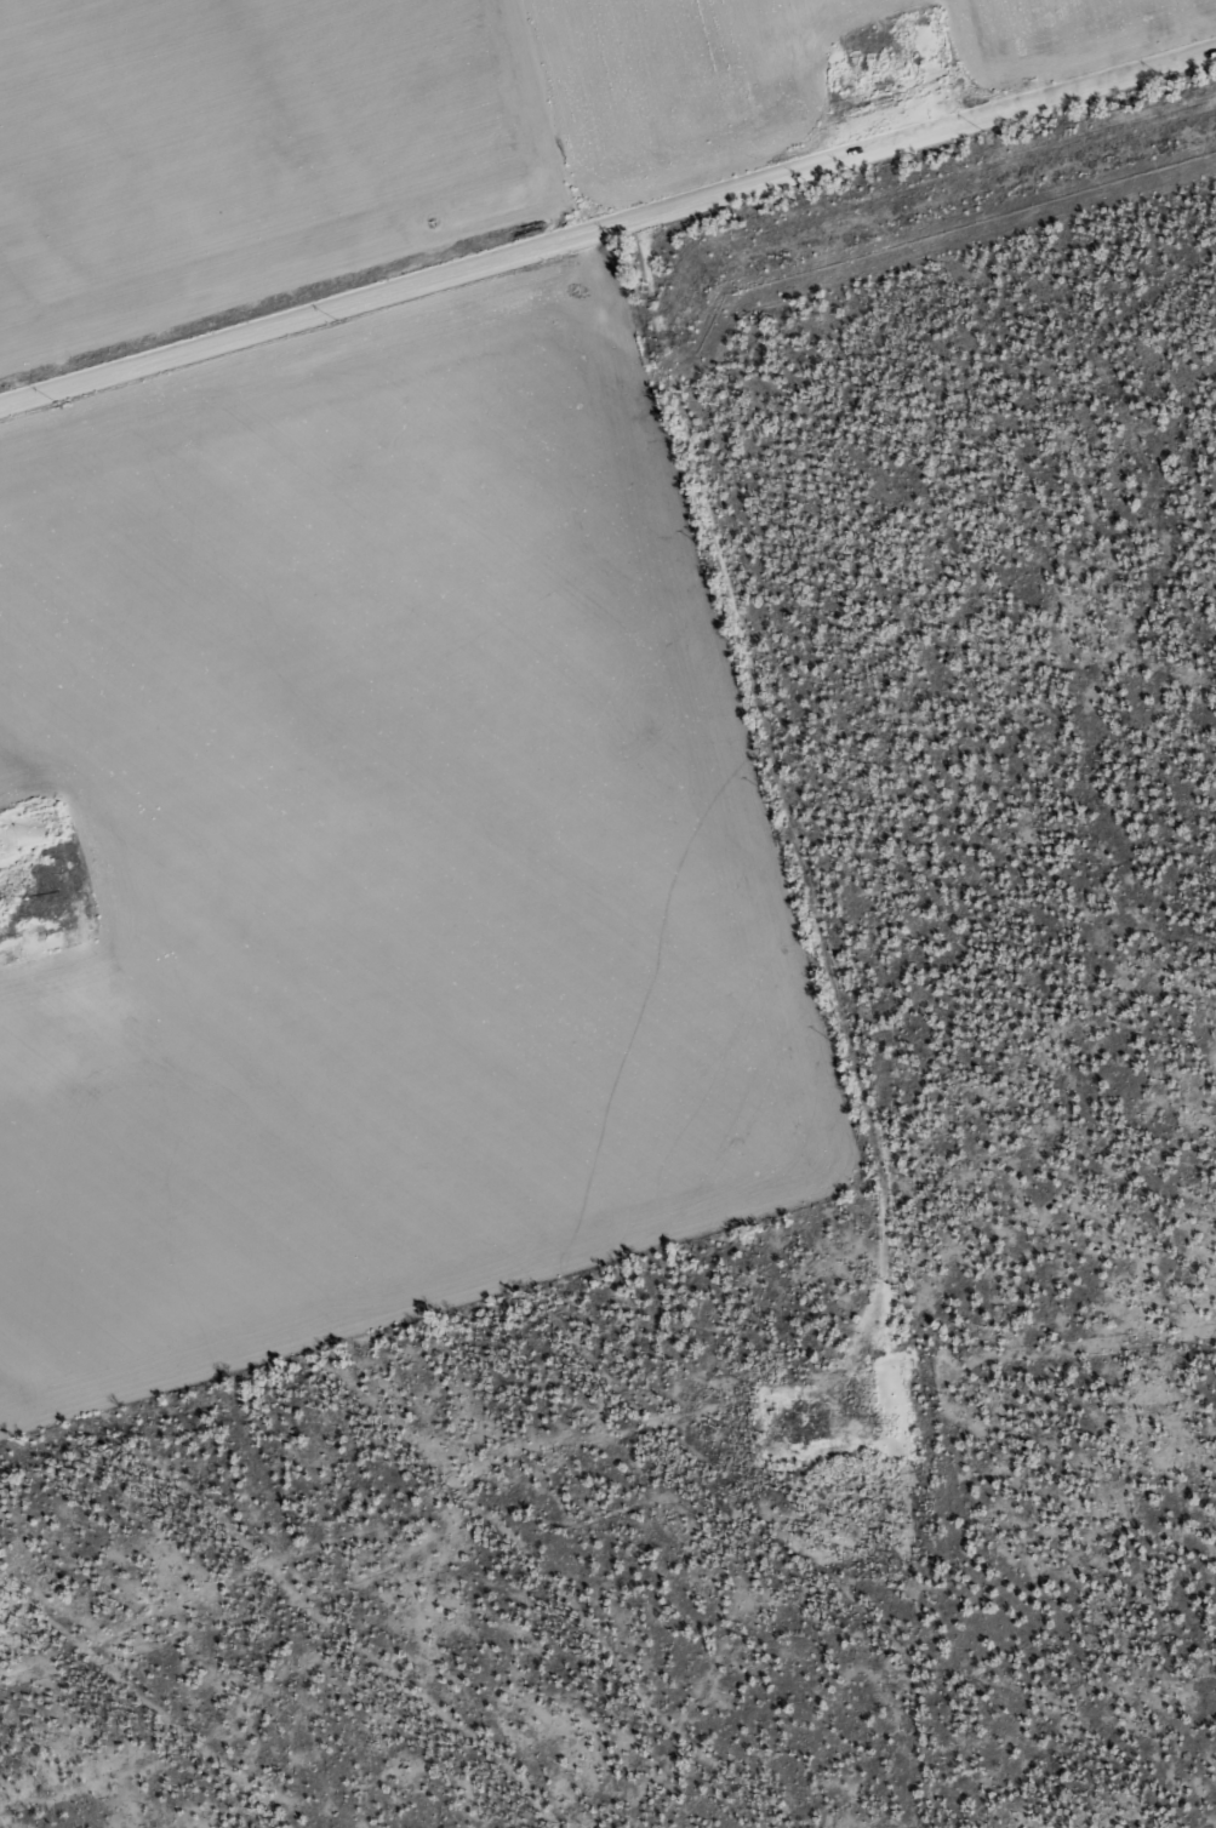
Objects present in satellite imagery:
road: (607, 233)

